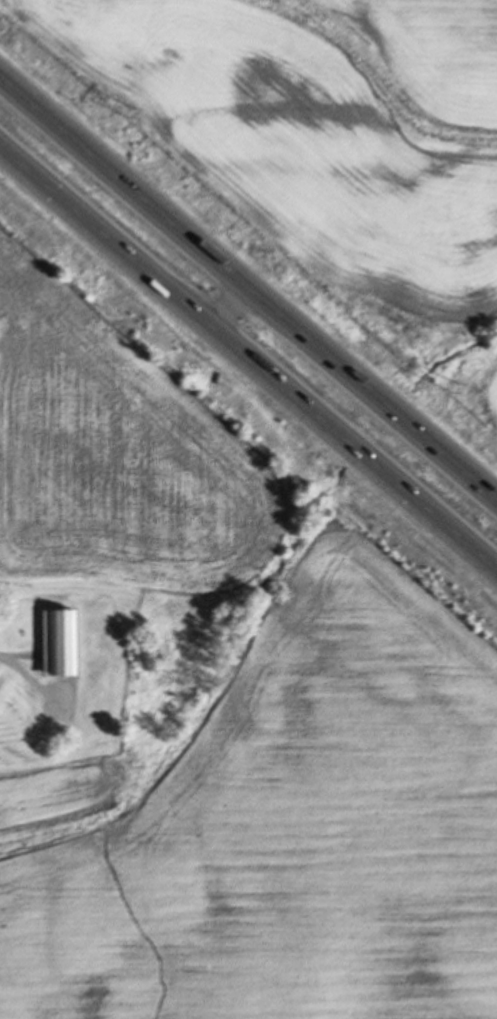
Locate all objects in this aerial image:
power tower: (131, 116)
road: (247, 288)
road: (228, 305)
road: (248, 355)
power tower: (453, 389)
building: (62, 643)

